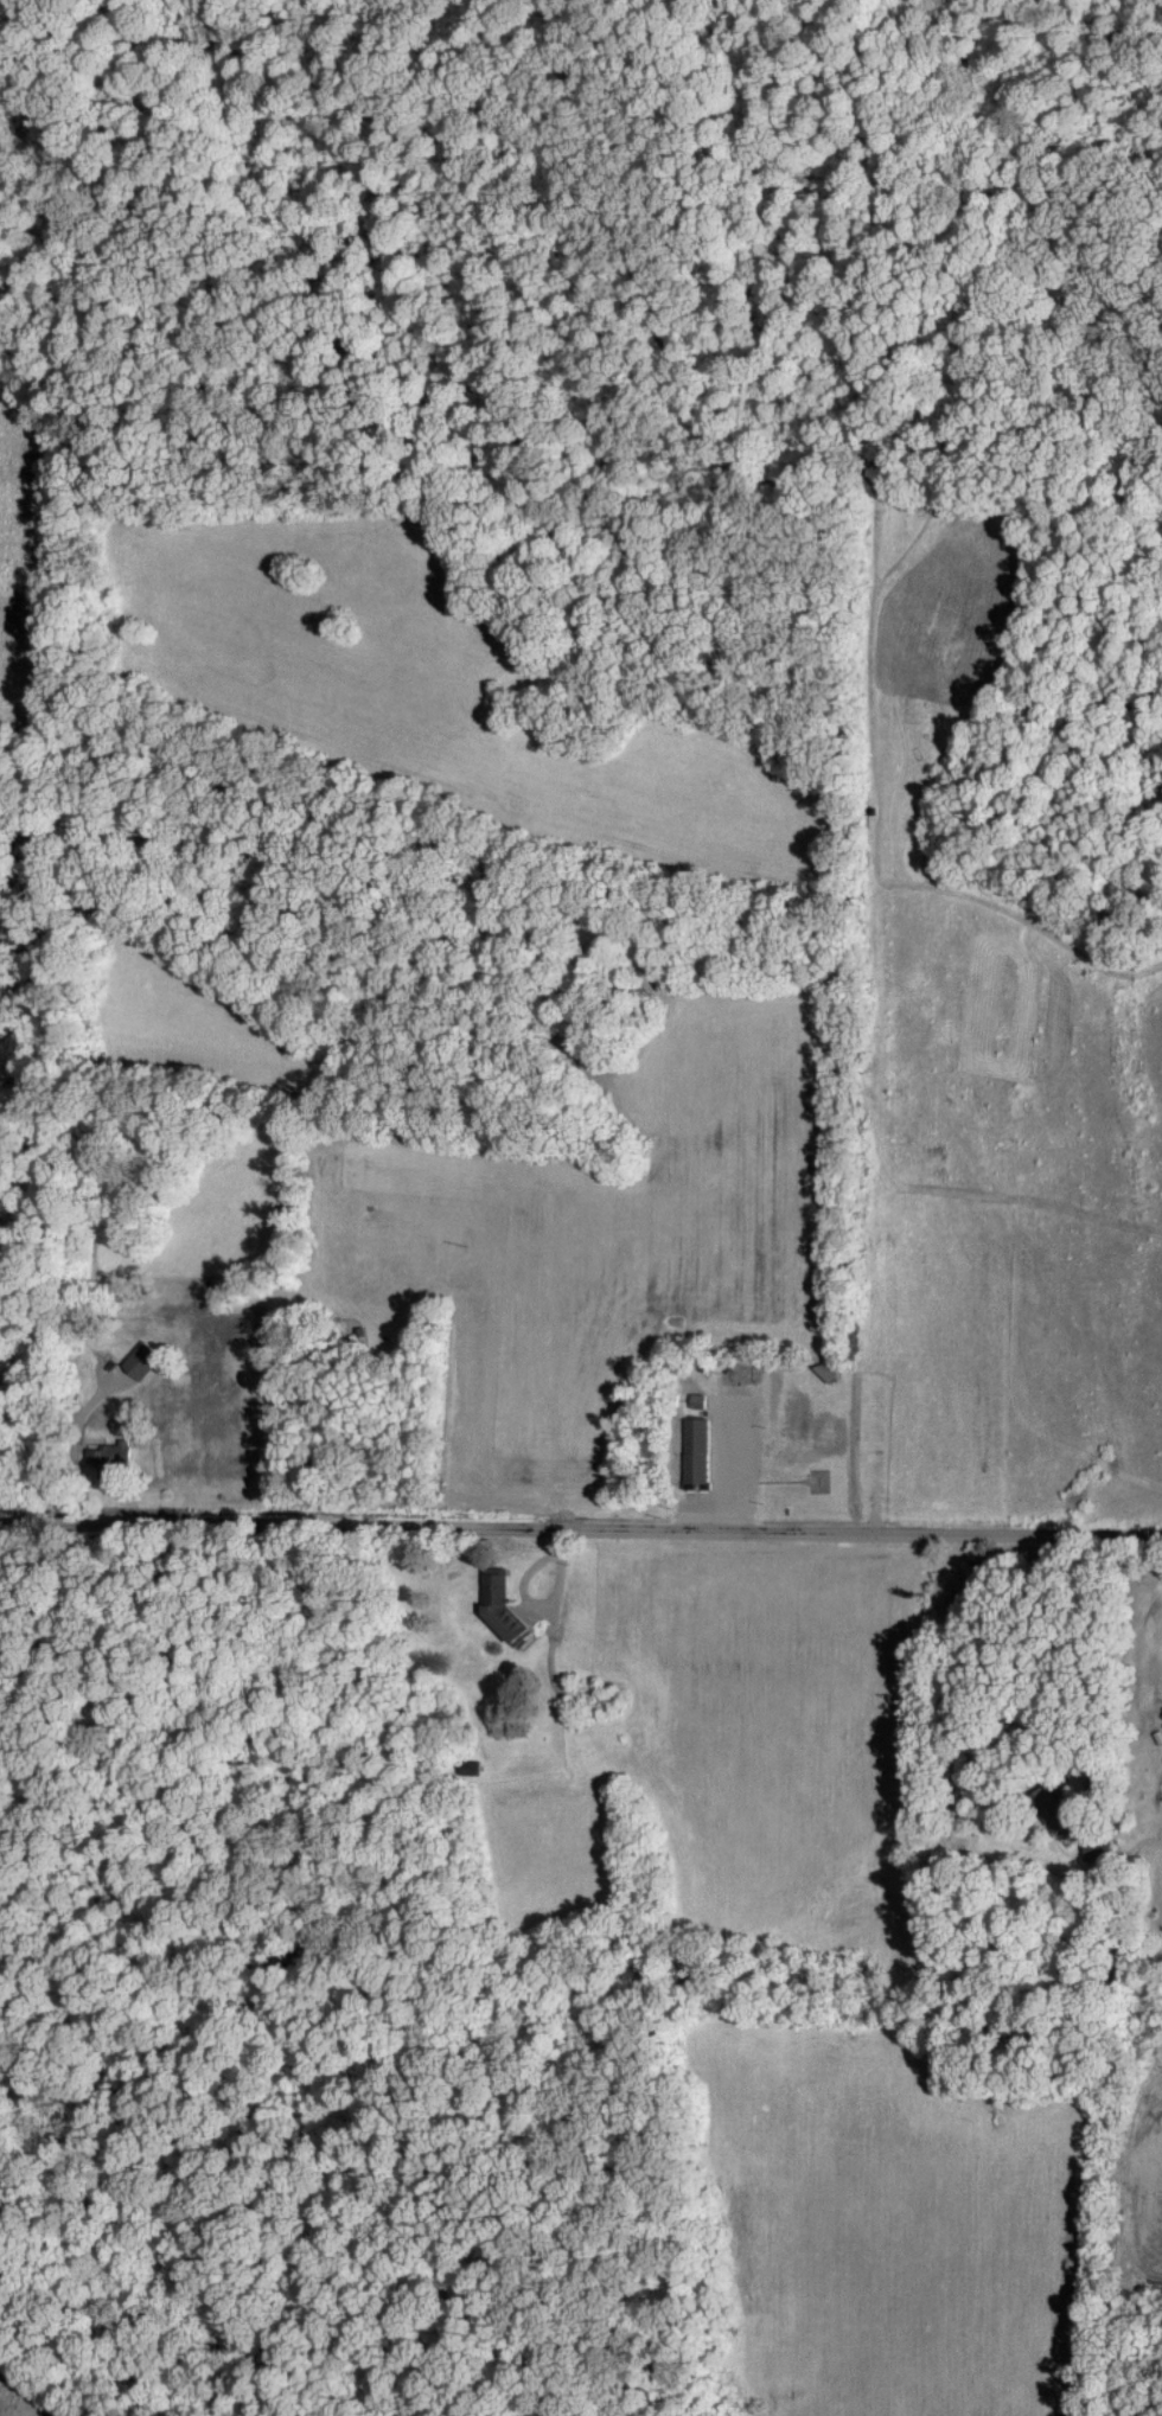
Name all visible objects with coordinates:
building: (135, 1360)
building: (692, 1449)
building: (108, 1452)
road: (580, 1549)

